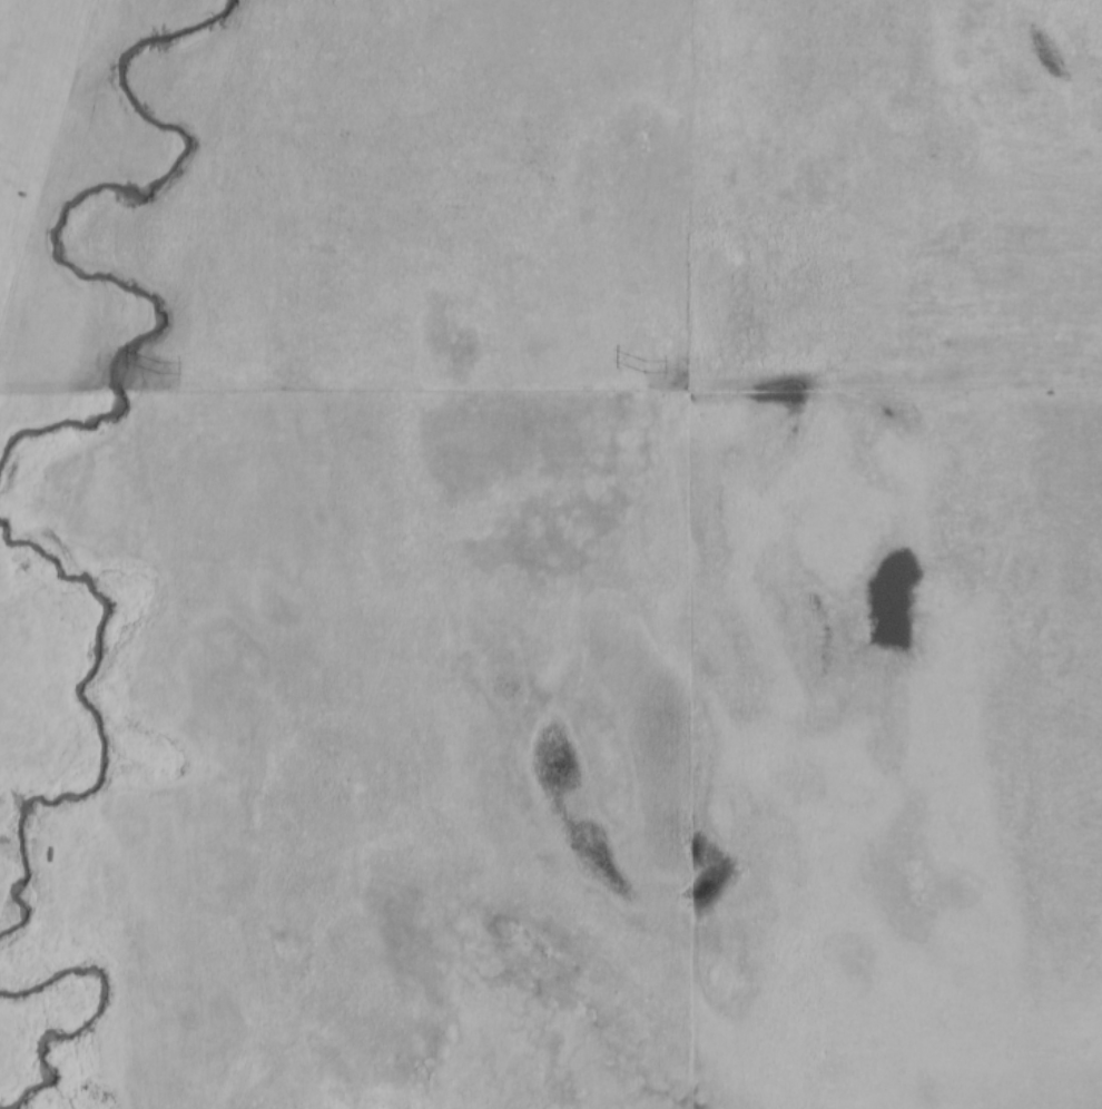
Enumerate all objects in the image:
river: (61, 228)
power tower: (159, 369)
power tower: (645, 369)
river: (105, 736)
river: (92, 1018)

